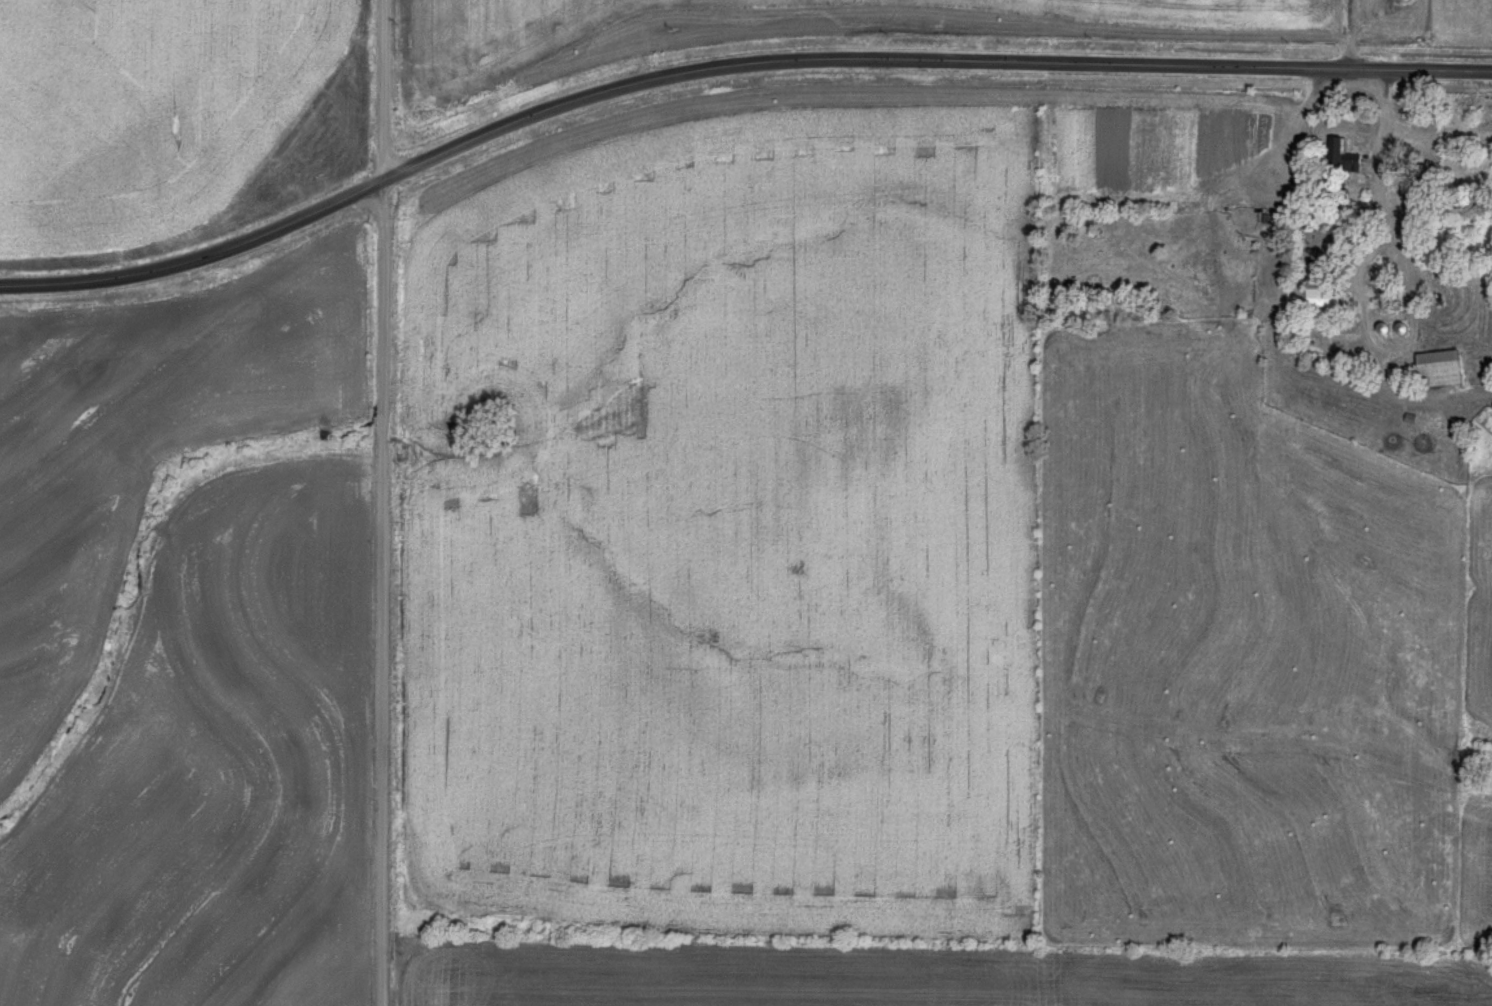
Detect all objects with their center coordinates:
building: (1400, 1)
road: (726, 64)
building: (1338, 155)
building: (1318, 291)
building: (1435, 368)
road: (376, 502)

